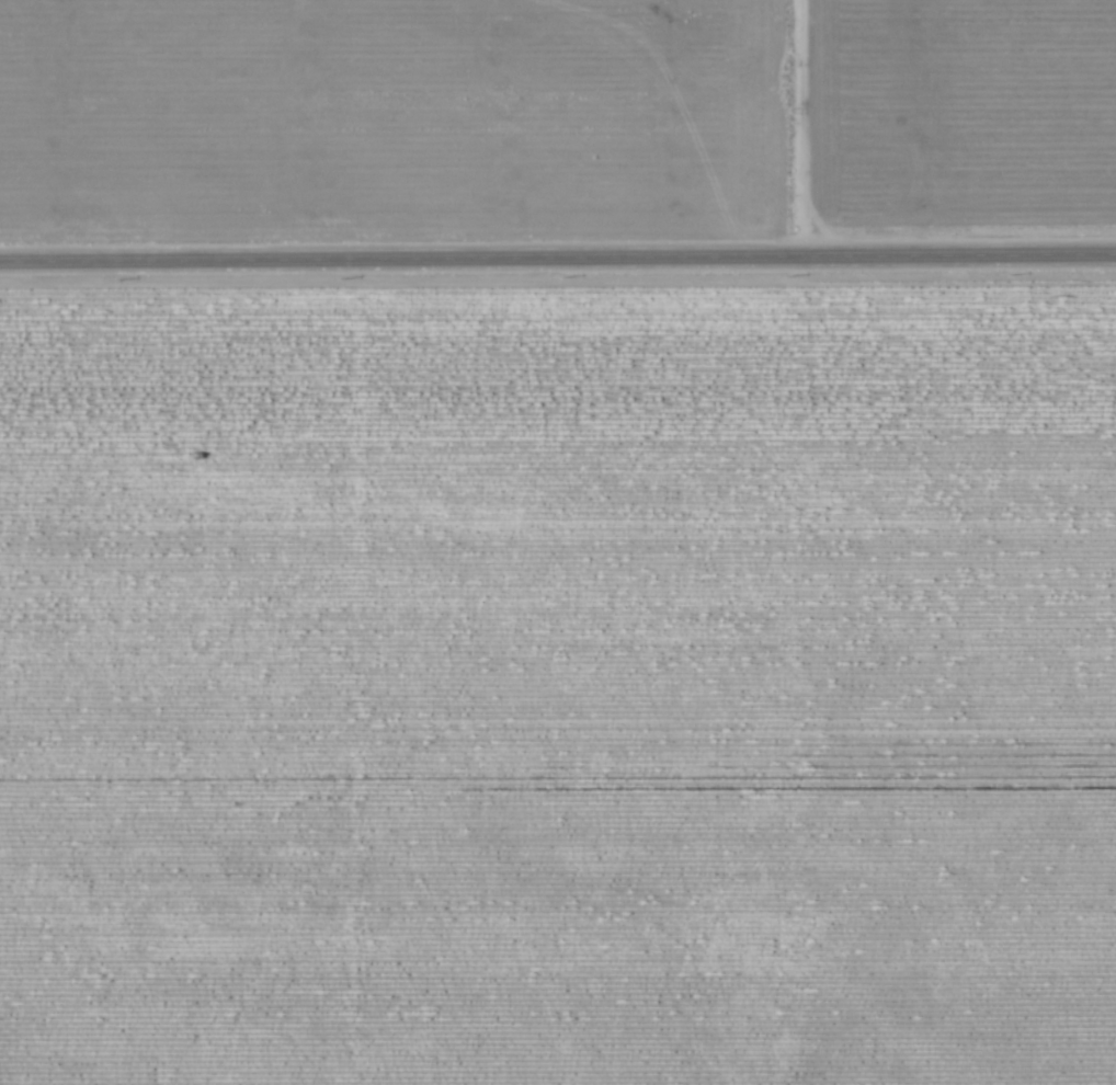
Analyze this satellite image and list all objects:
road: (796, 128)
road: (558, 259)

